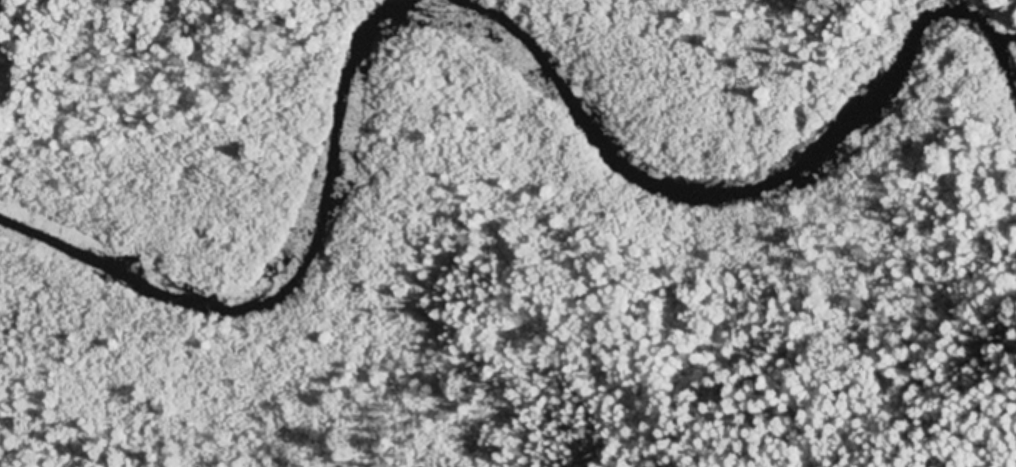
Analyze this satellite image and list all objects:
river: (494, 46)

